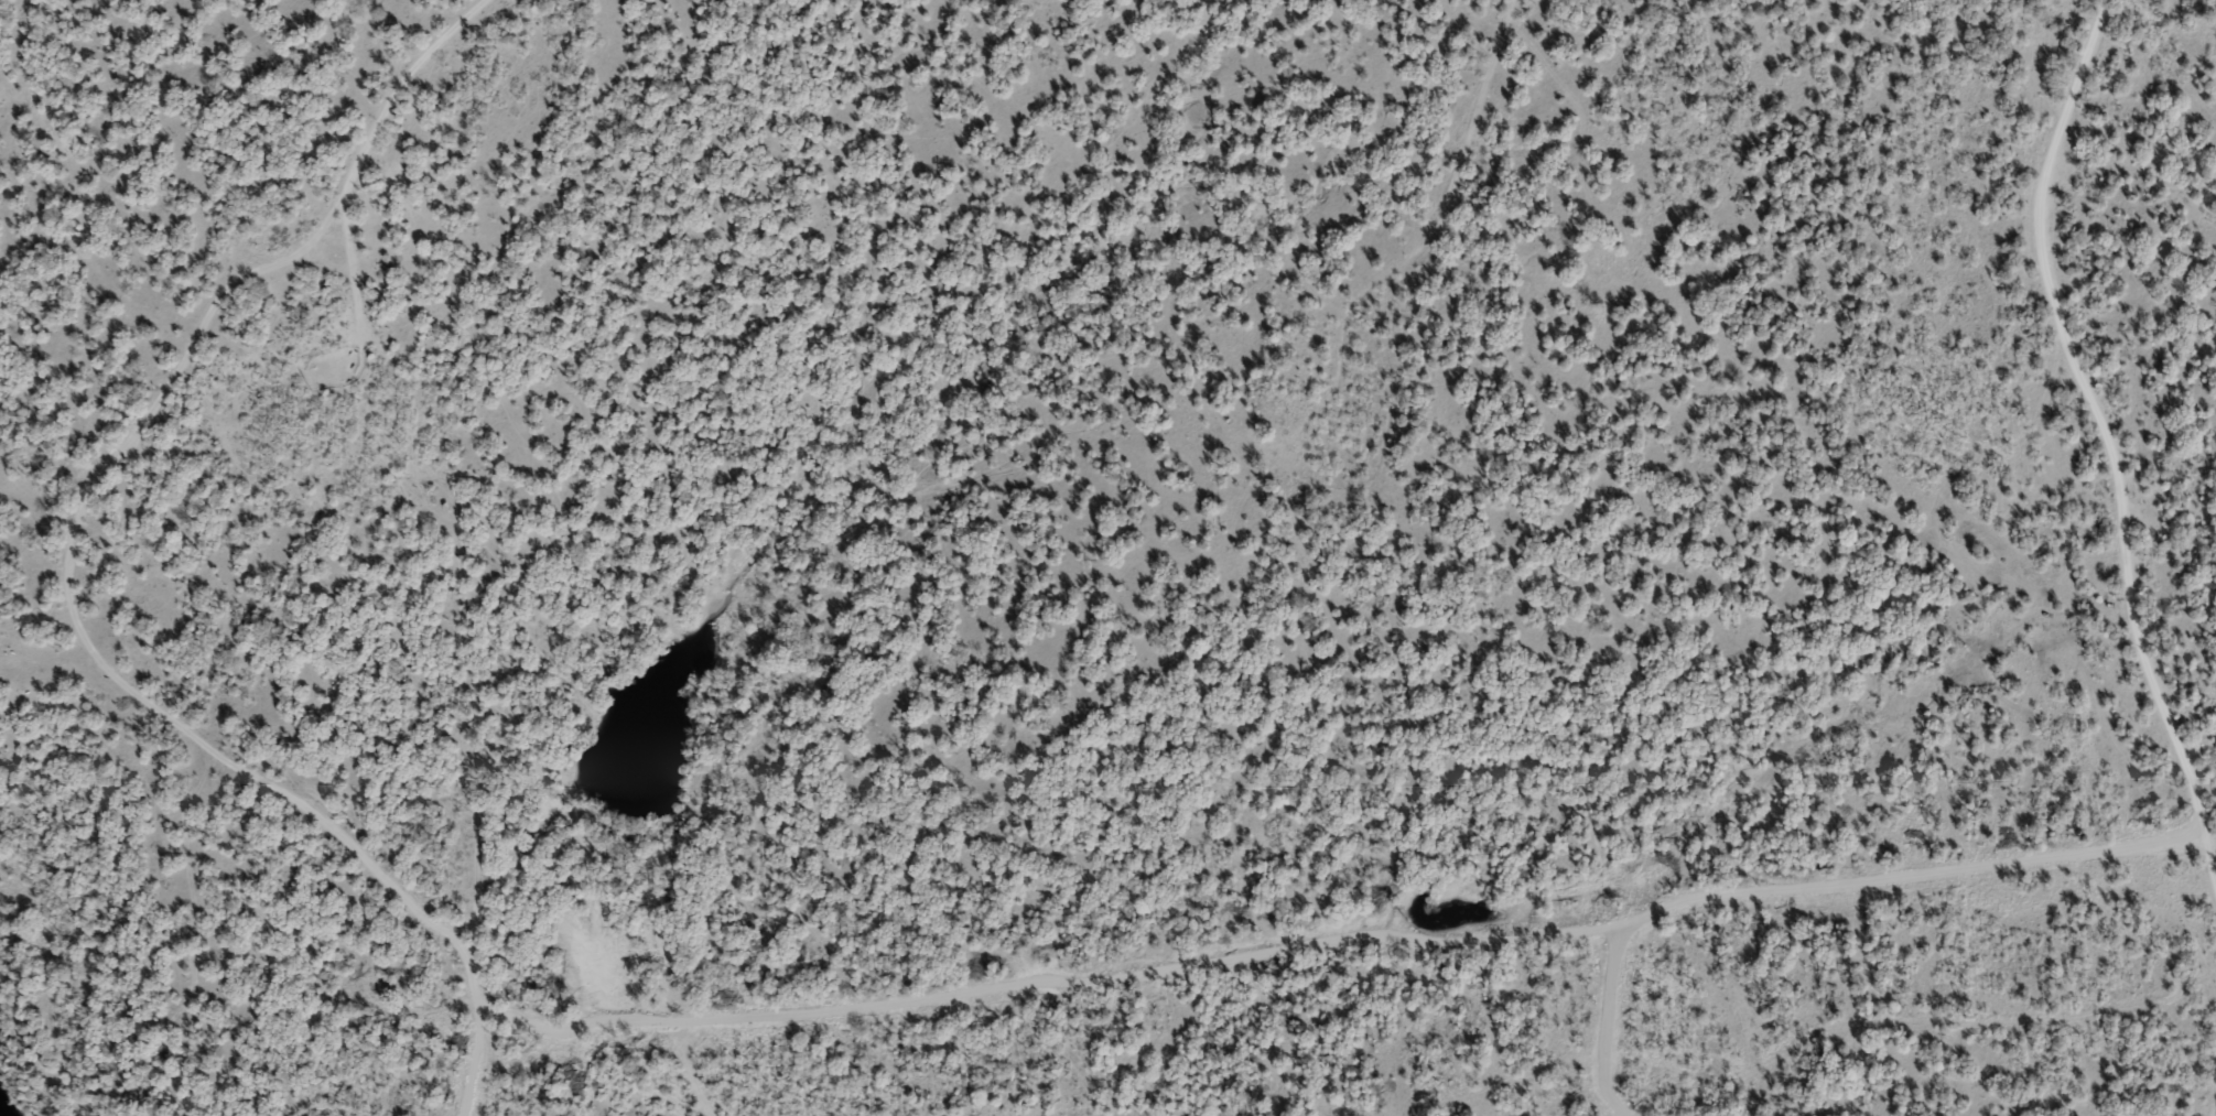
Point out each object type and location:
road: (1376, 281)
road: (2110, 445)
road: (193, 736)
road: (2019, 1019)
road: (478, 1022)
road: (2213, 1108)

